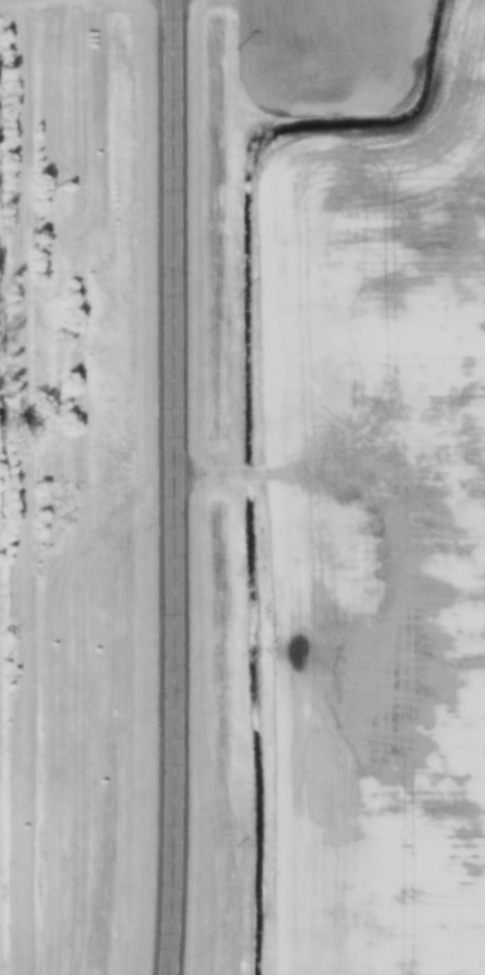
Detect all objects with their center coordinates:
road: (176, 487)

